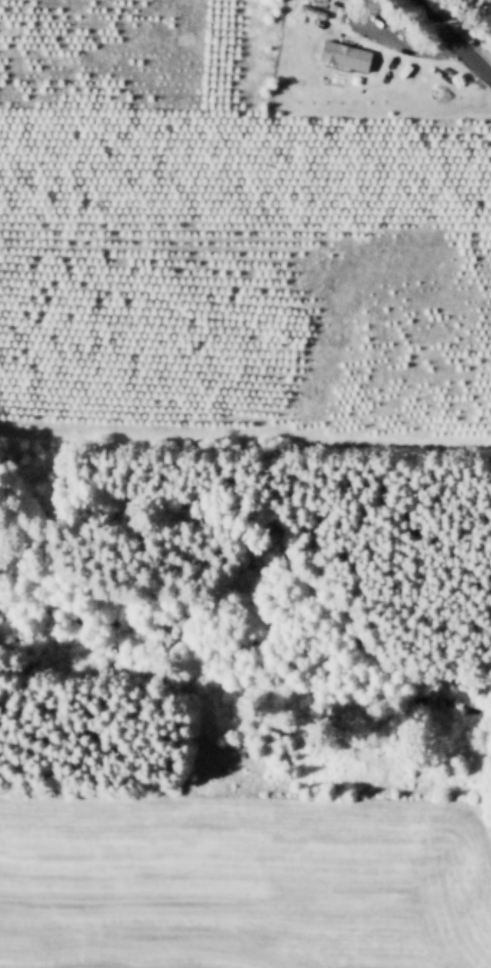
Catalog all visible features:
road: (453, 38)
building: (347, 58)
crop: (230, 233)
crop: (241, 881)
crop: (13, 965)

